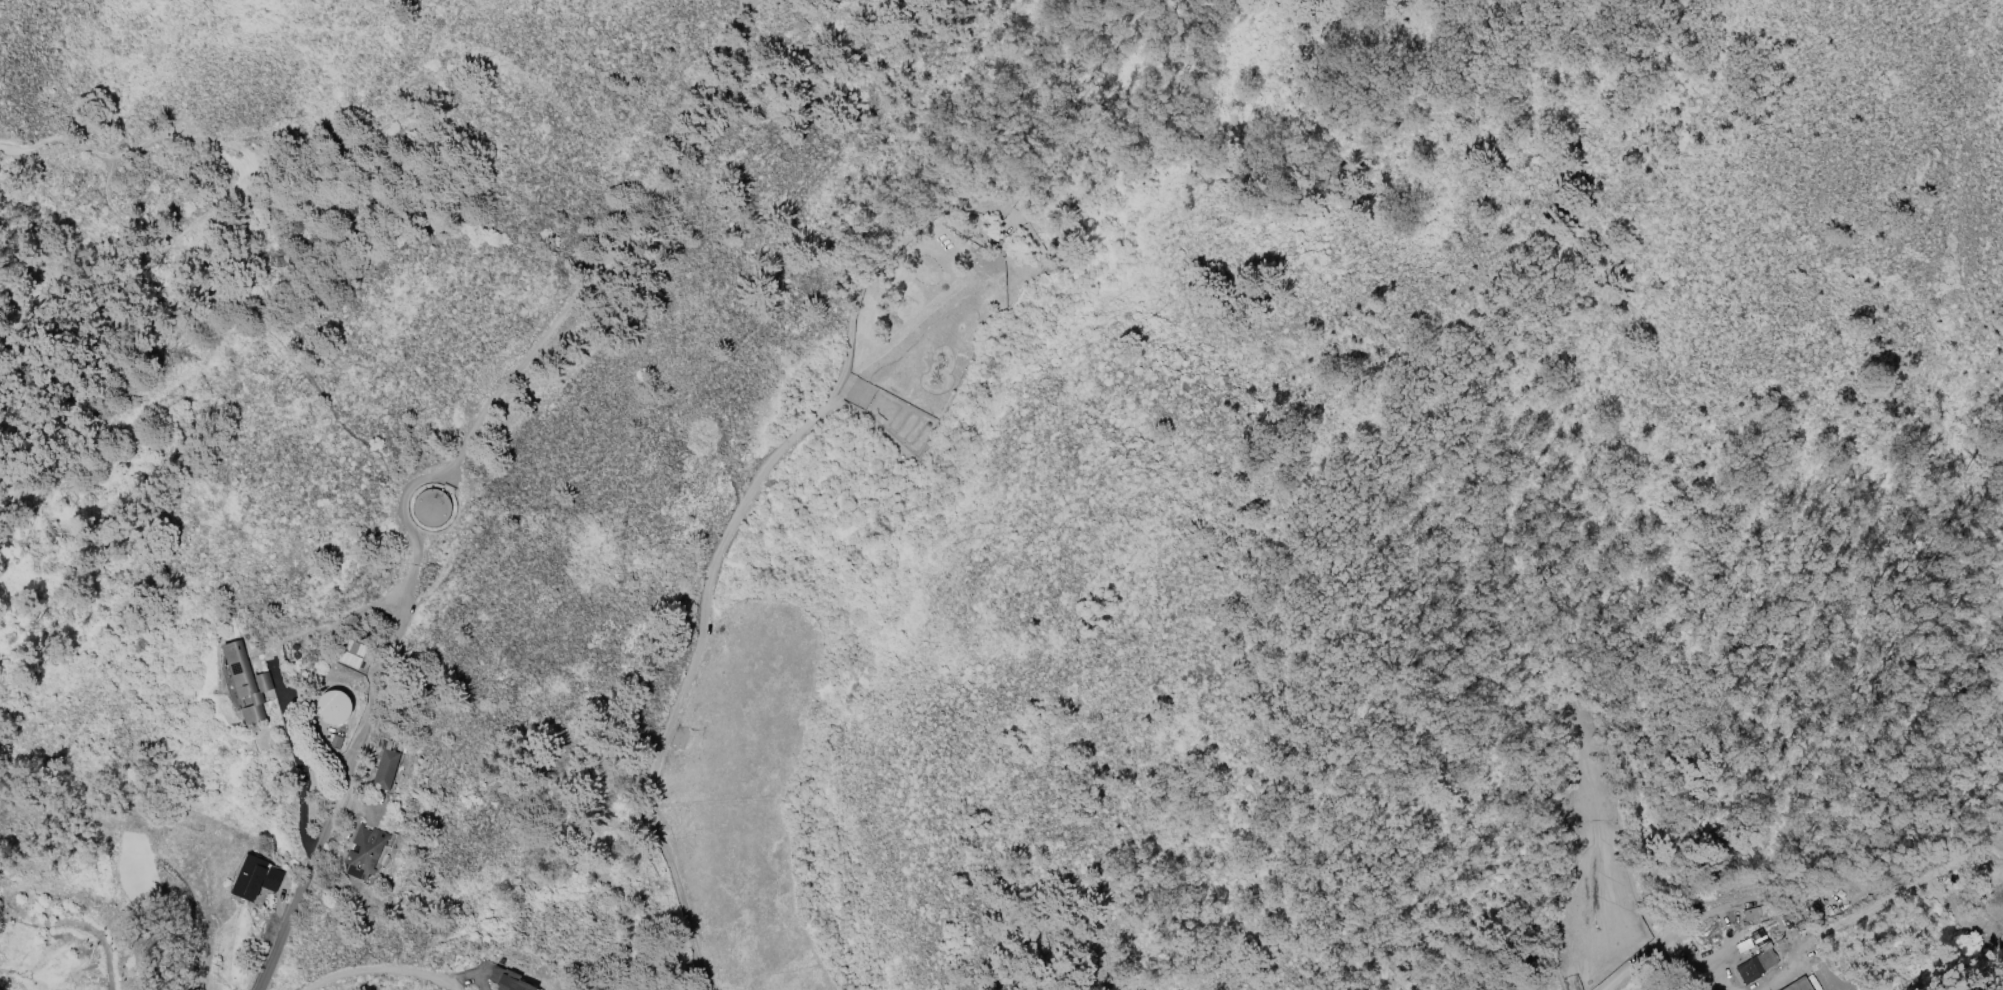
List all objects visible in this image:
park: (1826, 1)
road: (55, 138)
road: (235, 190)
road: (883, 259)
road: (291, 357)
road: (477, 419)
building: (431, 506)
building: (349, 651)
road: (688, 678)
building: (241, 681)
building: (328, 705)
road: (296, 760)
building: (381, 766)
crop: (745, 794)
building: (365, 850)
building: (251, 875)
building: (1754, 914)
road: (284, 925)
road: (1654, 947)
building: (1757, 965)
road: (377, 967)
building: (503, 978)
crop: (1642, 984)
building: (1800, 984)

